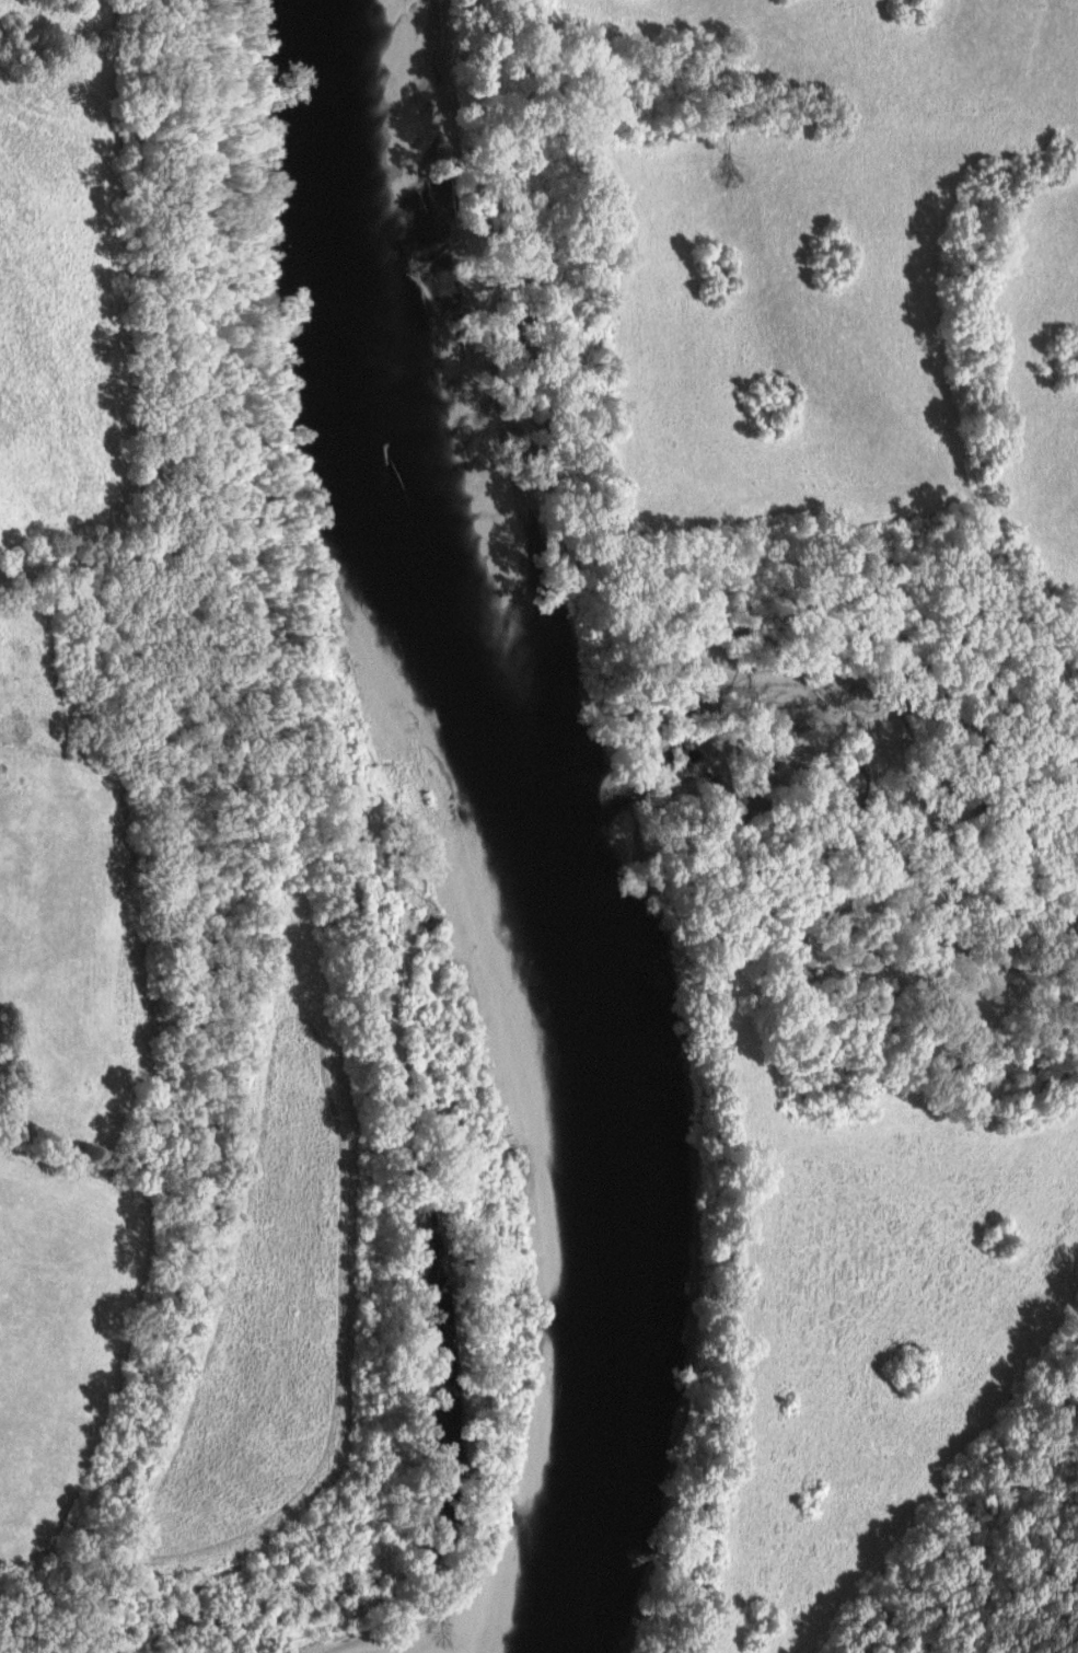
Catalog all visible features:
road: (142, 348)
road: (677, 530)
river: (546, 817)

